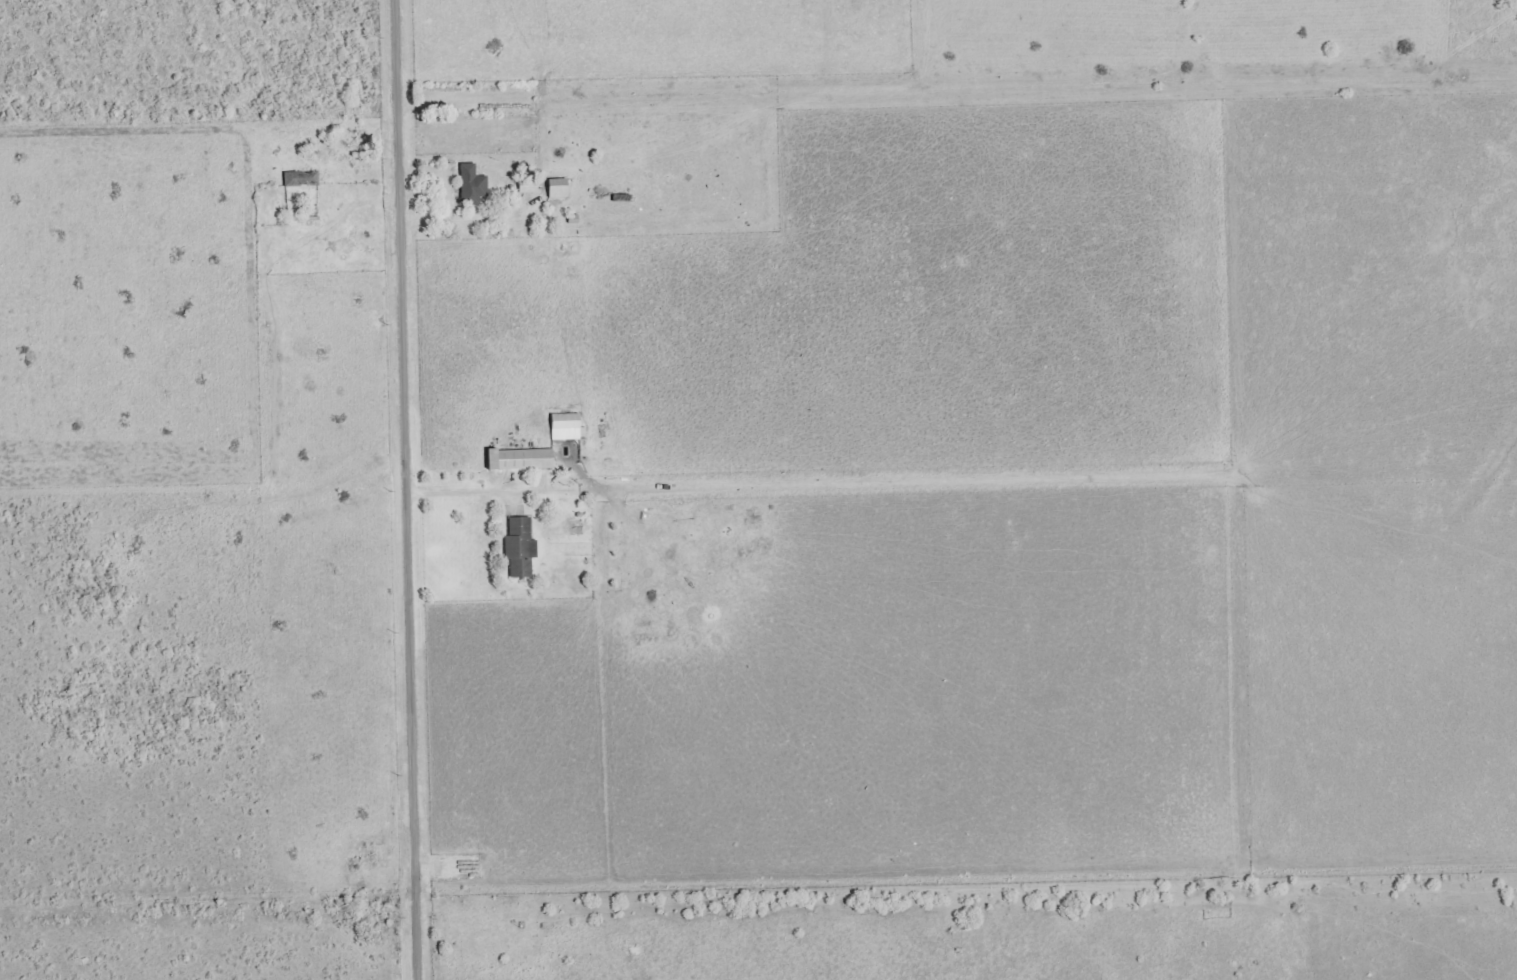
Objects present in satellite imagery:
building: (300, 179)
building: (470, 185)
building: (556, 188)
building: (565, 427)
building: (518, 460)
road: (407, 490)
building: (519, 549)

